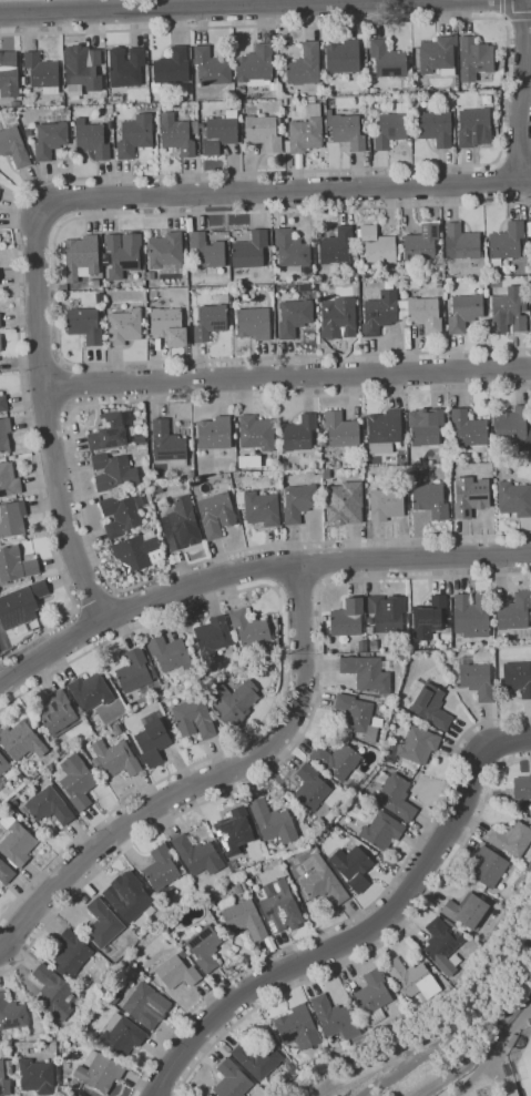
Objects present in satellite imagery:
road: (217, 7)
road: (504, 9)
road: (518, 18)
road: (502, 19)
building: (438, 55)
building: (344, 57)
building: (388, 59)
building: (474, 59)
building: (256, 65)
building: (305, 65)
building: (126, 67)
building: (211, 67)
building: (171, 69)
building: (42, 72)
building: (84, 73)
building: (9, 74)
building: (345, 78)
building: (24, 80)
building: (374, 90)
road: (523, 91)
building: (229, 94)
building: (285, 101)
building: (160, 108)
building: (286, 125)
building: (195, 126)
building: (202, 126)
building: (435, 128)
building: (474, 128)
building: (346, 130)
building: (392, 130)
building: (306, 131)
building: (264, 132)
building: (221, 133)
building: (176, 134)
building: (286, 134)
building: (135, 135)
building: (92, 139)
building: (51, 140)
building: (13, 146)
road: (514, 158)
building: (299, 161)
road: (321, 170)
road: (284, 191)
road: (48, 215)
road: (58, 223)
building: (530, 226)
building: (461, 243)
building: (508, 243)
building: (421, 244)
building: (379, 245)
building: (336, 246)
building: (292, 248)
building: (251, 250)
building: (208, 251)
building: (166, 253)
building: (123, 254)
building: (190, 255)
building: (81, 257)
building: (150, 275)
building: (94, 283)
building: (439, 283)
building: (355, 284)
building: (413, 284)
road: (55, 291)
building: (223, 297)
building: (509, 311)
building: (186, 312)
building: (464, 312)
building: (380, 313)
building: (421, 314)
building: (295, 317)
building: (185, 318)
building: (338, 319)
building: (0, 321)
building: (211, 321)
building: (83, 323)
building: (254, 323)
building: (169, 325)
building: (125, 326)
building: (0, 343)
road: (286, 376)
road: (59, 384)
building: (3, 404)
road: (47, 418)
building: (194, 425)
building: (236, 425)
building: (426, 426)
building: (514, 427)
building: (341, 429)
building: (111, 430)
building: (384, 430)
building: (470, 430)
building: (256, 433)
building: (299, 434)
building: (4, 435)
building: (215, 436)
building: (169, 444)
building: (323, 444)
building: (114, 451)
building: (401, 458)
building: (114, 471)
building: (327, 474)
building: (9, 480)
road: (76, 484)
building: (470, 496)
building: (430, 499)
building: (514, 499)
building: (298, 503)
building: (345, 503)
building: (387, 503)
building: (259, 508)
building: (216, 514)
building: (122, 515)
building: (12, 518)
building: (181, 525)
building: (135, 551)
building: (16, 565)
road: (251, 568)
road: (298, 586)
road: (93, 602)
building: (21, 605)
building: (387, 612)
building: (515, 612)
building: (471, 615)
building: (348, 618)
building: (428, 618)
building: (449, 618)
building: (249, 628)
building: (369, 630)
building: (213, 636)
building: (374, 645)
building: (362, 646)
building: (169, 653)
building: (237, 663)
road: (280, 670)
building: (134, 671)
building: (367, 672)
building: (518, 678)
building: (477, 679)
building: (456, 686)
building: (90, 691)
building: (371, 698)
building: (234, 702)
building: (429, 703)
building: (59, 714)
building: (358, 716)
building: (194, 718)
building: (116, 730)
building: (21, 741)
building: (153, 742)
building: (415, 745)
road: (295, 747)
building: (118, 758)
building: (336, 760)
building: (3, 764)
building: (34, 773)
building: (19, 774)
building: (78, 781)
road: (205, 781)
building: (1, 782)
building: (0, 787)
building: (310, 788)
building: (522, 788)
building: (396, 795)
building: (49, 805)
building: (273, 822)
building: (235, 831)
building: (382, 831)
building: (511, 839)
building: (16, 842)
building: (197, 855)
building: (489, 866)
building: (529, 866)
building: (353, 867)
building: (162, 870)
building: (256, 870)
building: (6, 873)
building: (321, 881)
building: (129, 896)
building: (210, 899)
building: (280, 906)
building: (466, 910)
building: (245, 920)
road: (354, 921)
building: (449, 923)
building: (103, 924)
road: (359, 934)
building: (176, 944)
building: (442, 945)
road: (377, 947)
building: (204, 948)
building: (72, 953)
building: (182, 954)
building: (176, 973)
building: (412, 978)
building: (53, 993)
building: (374, 995)
building: (146, 1005)
building: (418, 1008)
building: (11, 1014)
building: (335, 1017)
road: (449, 1022)
building: (298, 1027)
building: (122, 1034)
road: (494, 1052)
building: (257, 1059)
building: (9, 1066)
park: (525, 1069)
building: (100, 1070)
building: (37, 1076)
building: (232, 1080)
building: (3, 1082)
building: (513, 1093)
building: (275, 1094)

